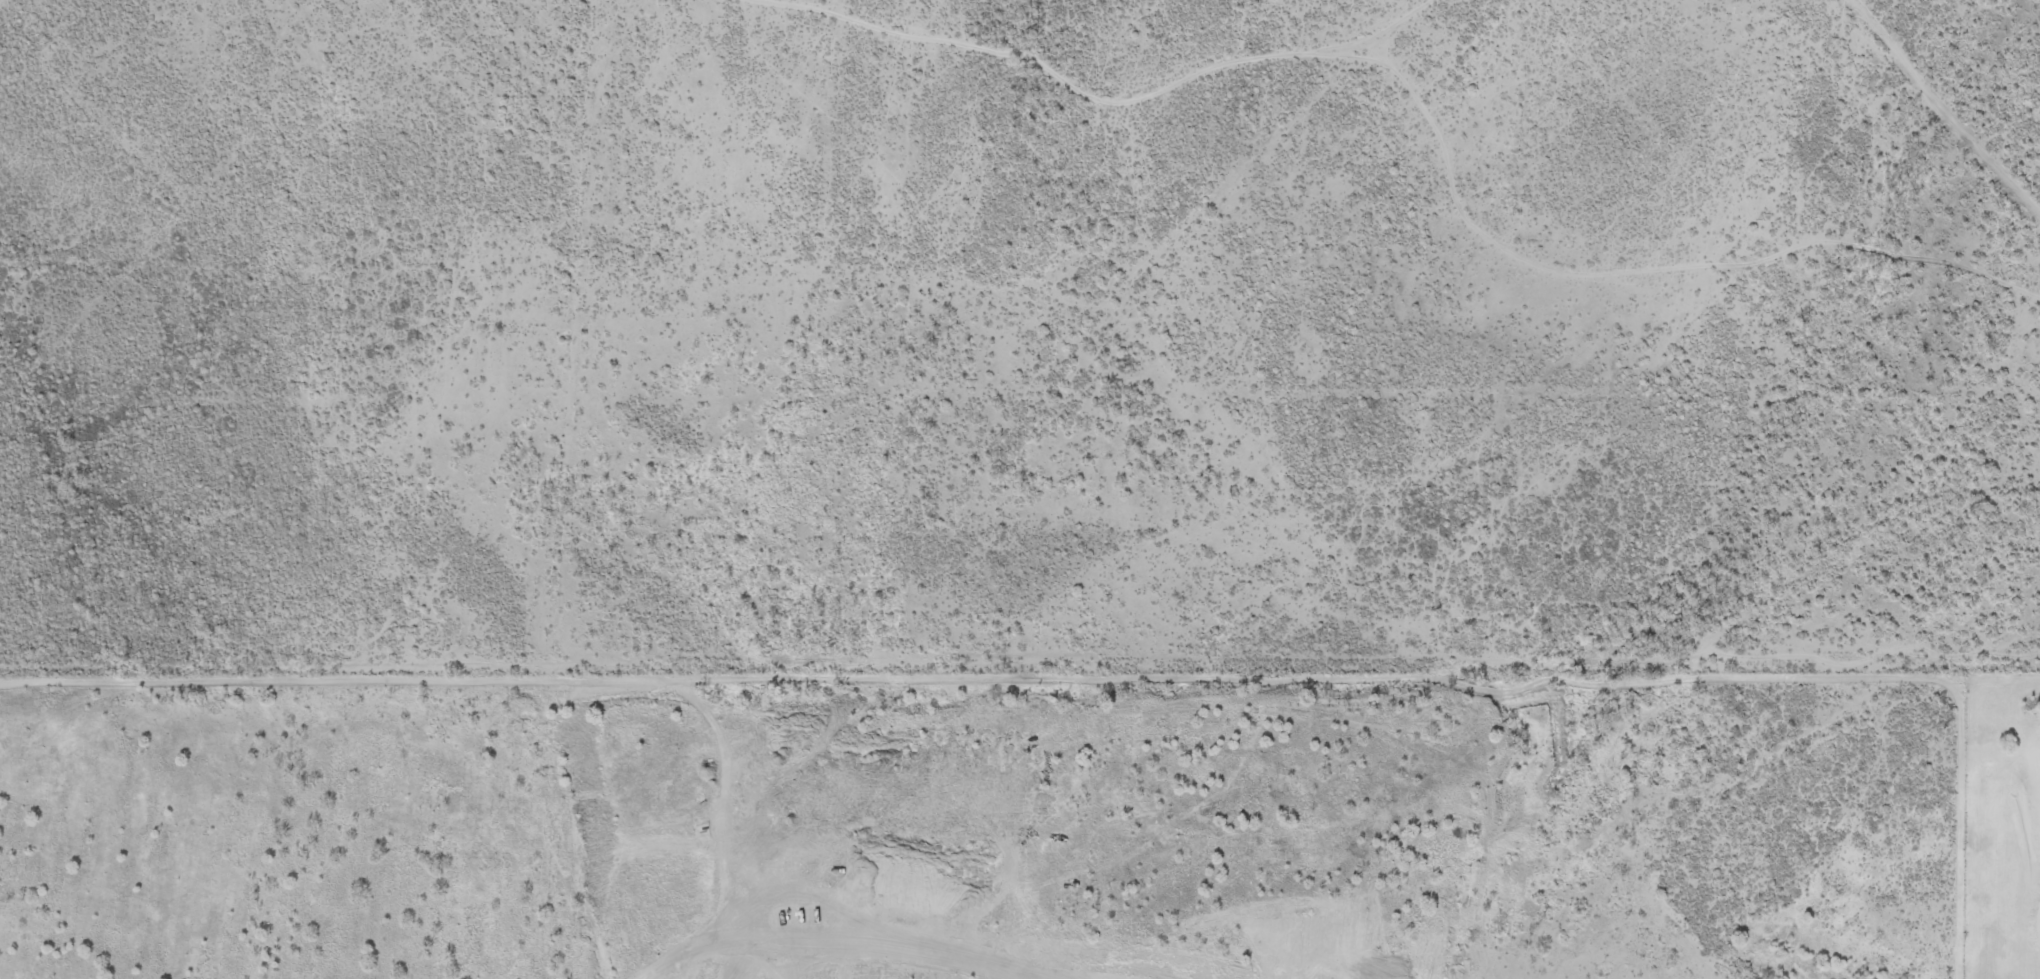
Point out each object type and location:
road: (1099, 104)
road: (1945, 110)
road: (1635, 258)
road: (1624, 475)
road: (1421, 635)

